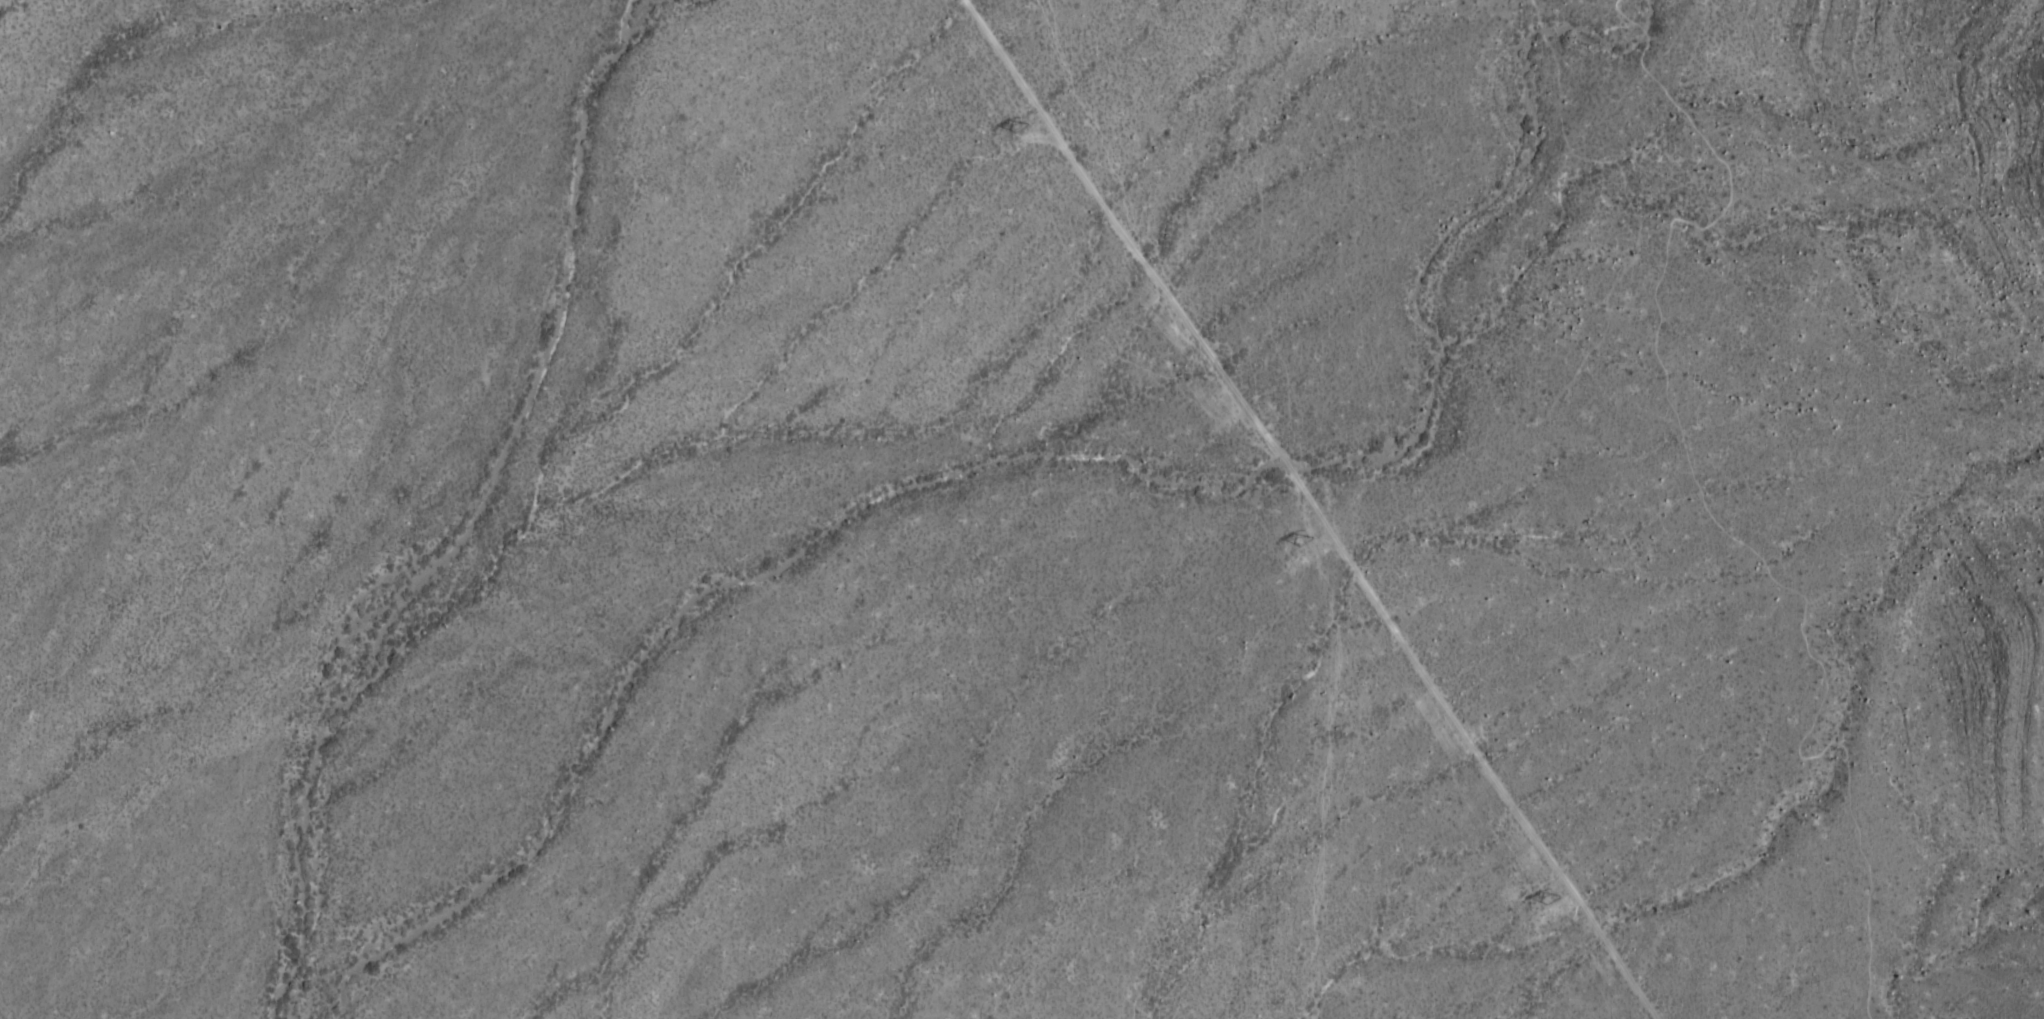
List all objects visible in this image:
power tower: (1024, 125)
road: (1310, 509)
road: (1714, 513)
power tower: (1307, 537)
power tower: (1554, 897)

